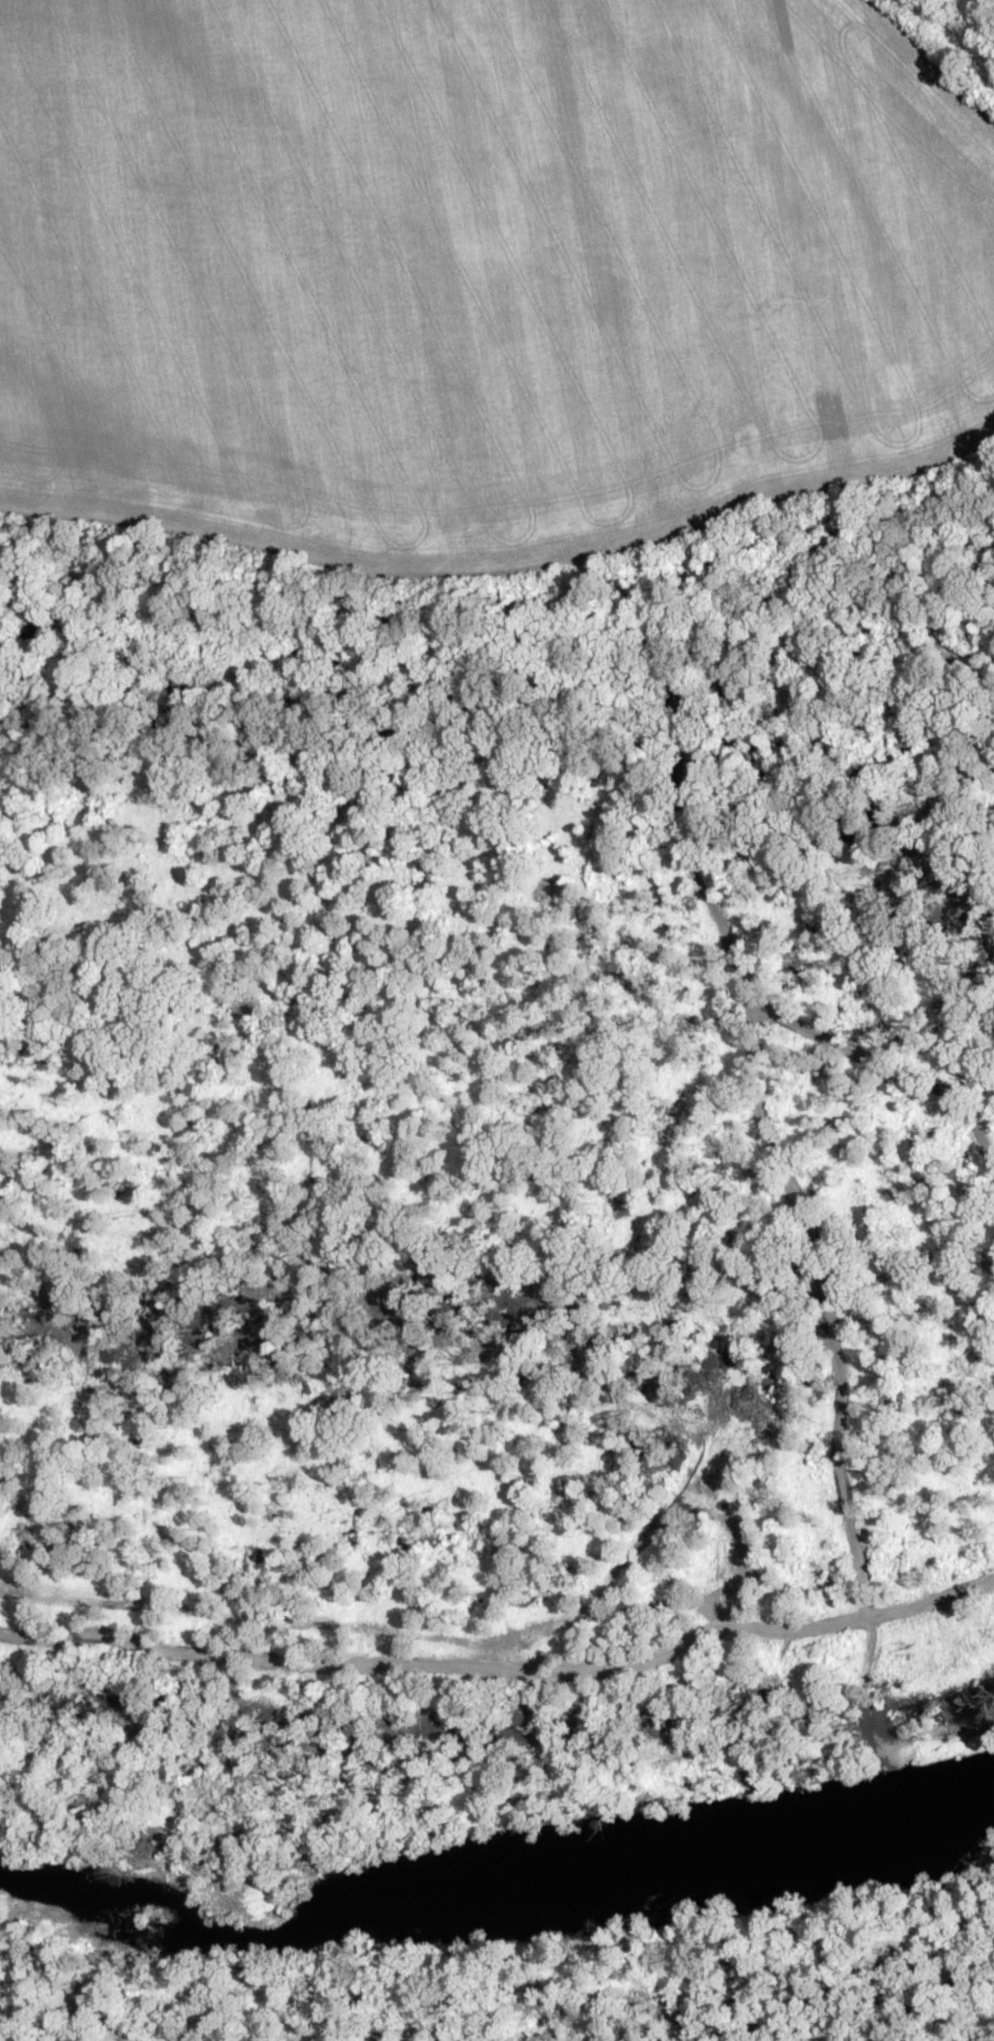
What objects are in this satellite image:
road: (507, 554)
road: (768, 1120)

